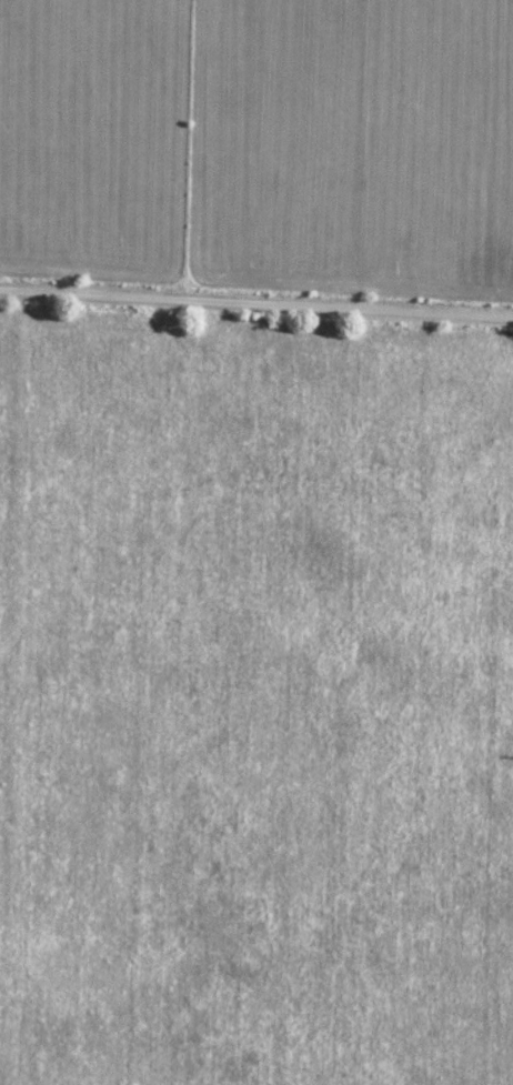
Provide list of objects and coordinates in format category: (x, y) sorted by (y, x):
road: (256, 303)

